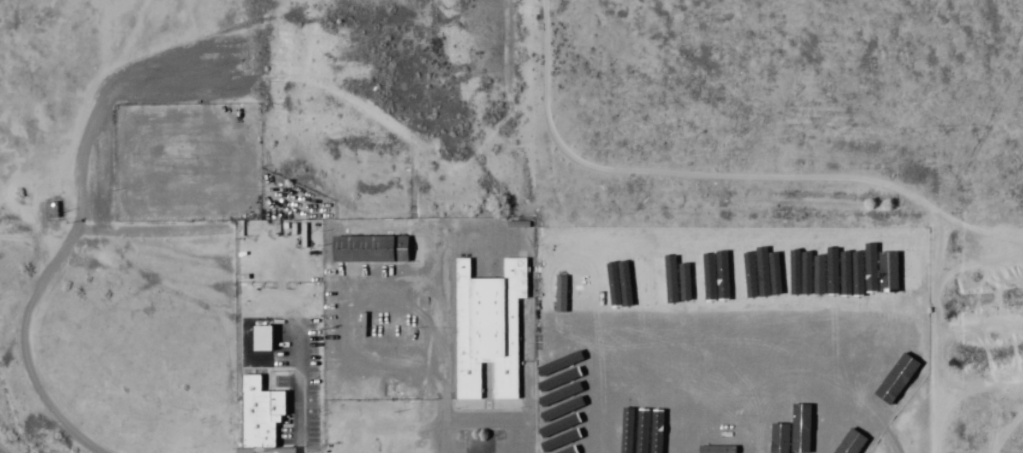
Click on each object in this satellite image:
building: (50, 208)
building: (367, 247)
building: (685, 305)
building: (486, 326)
building: (849, 363)
building: (710, 371)
building: (868, 372)
building: (258, 416)
building: (831, 425)
building: (556, 427)
building: (684, 446)
building: (555, 447)

